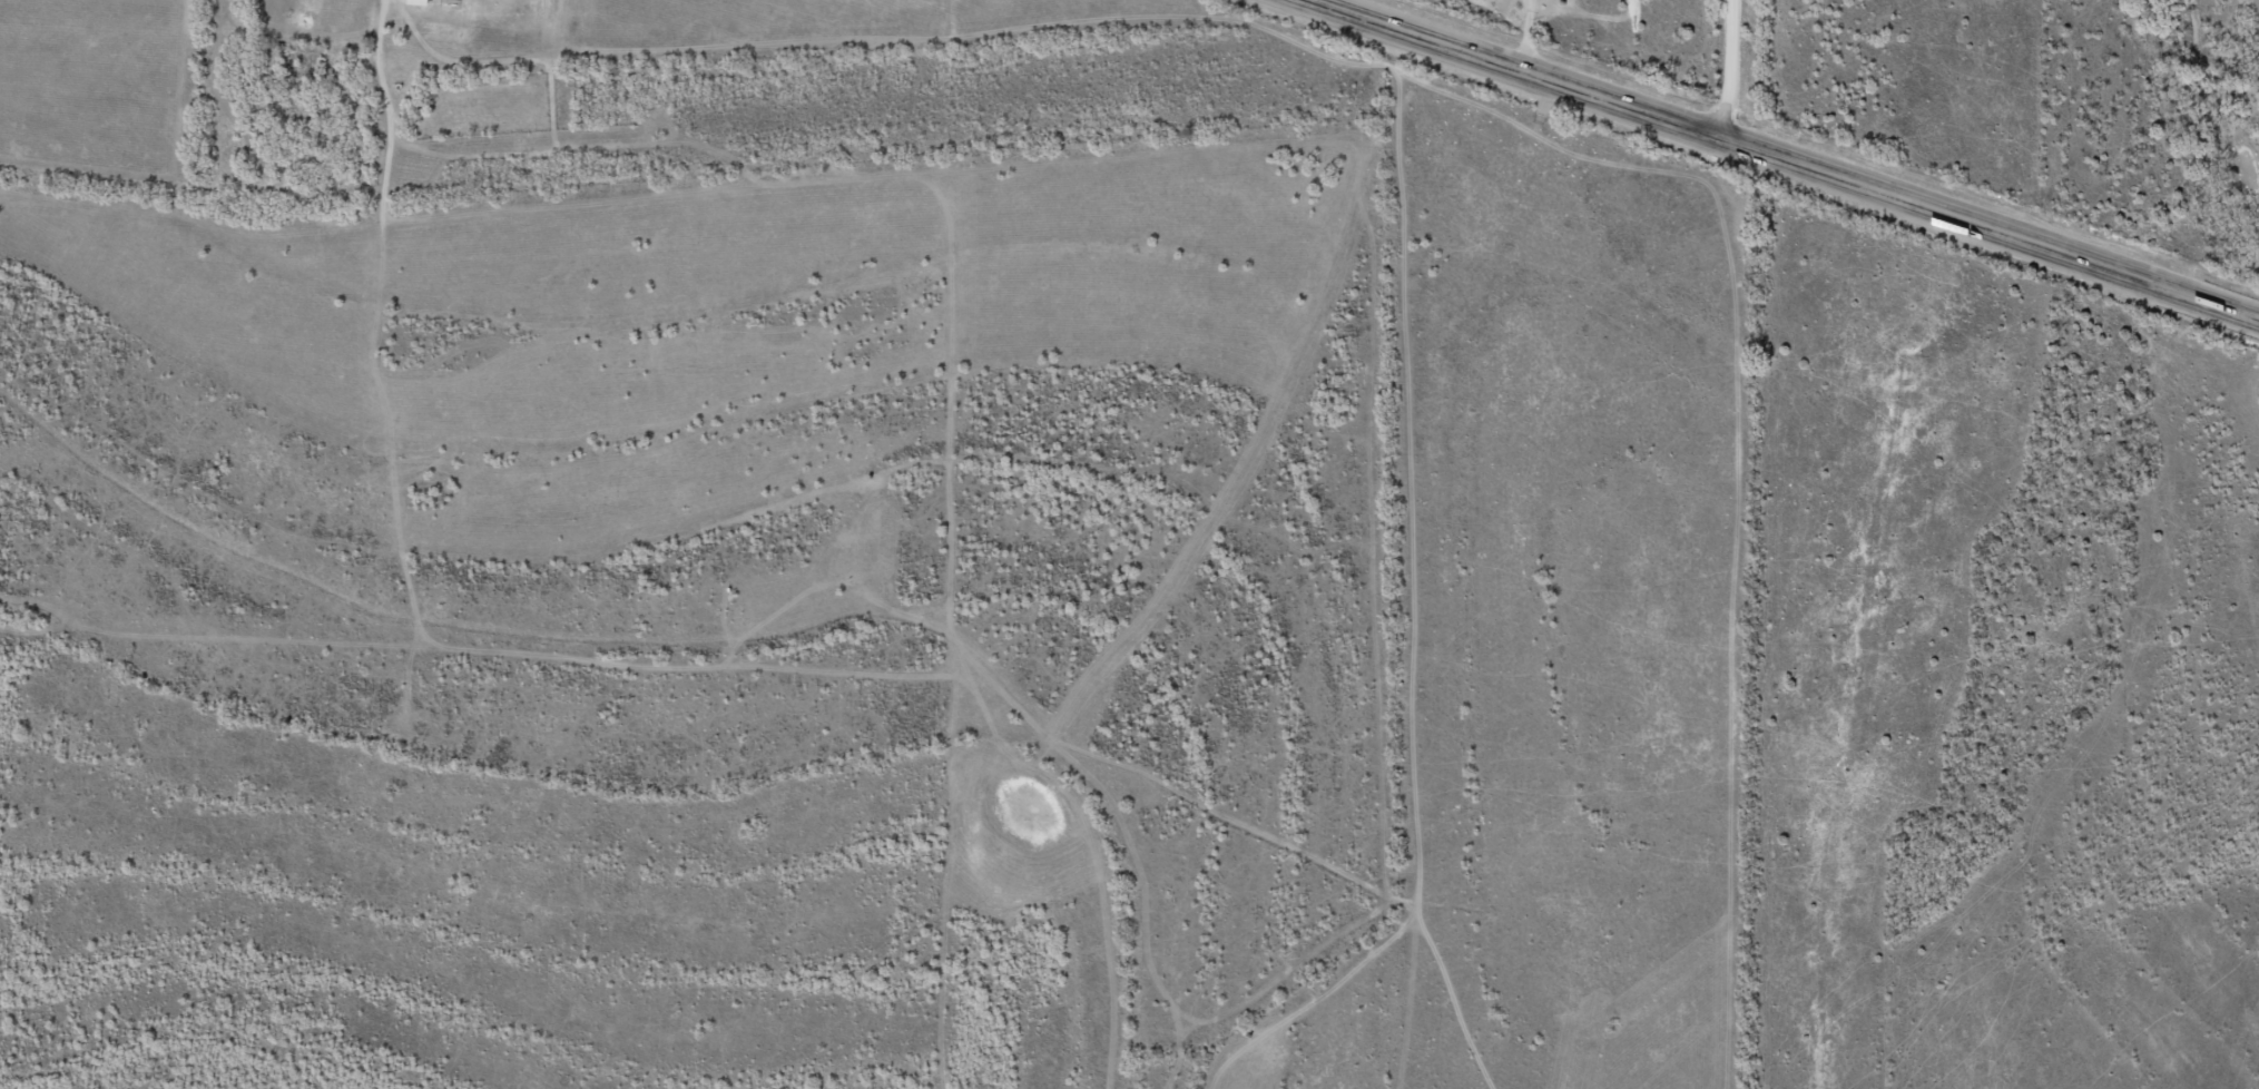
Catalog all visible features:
road: (1729, 70)
road: (1781, 159)

